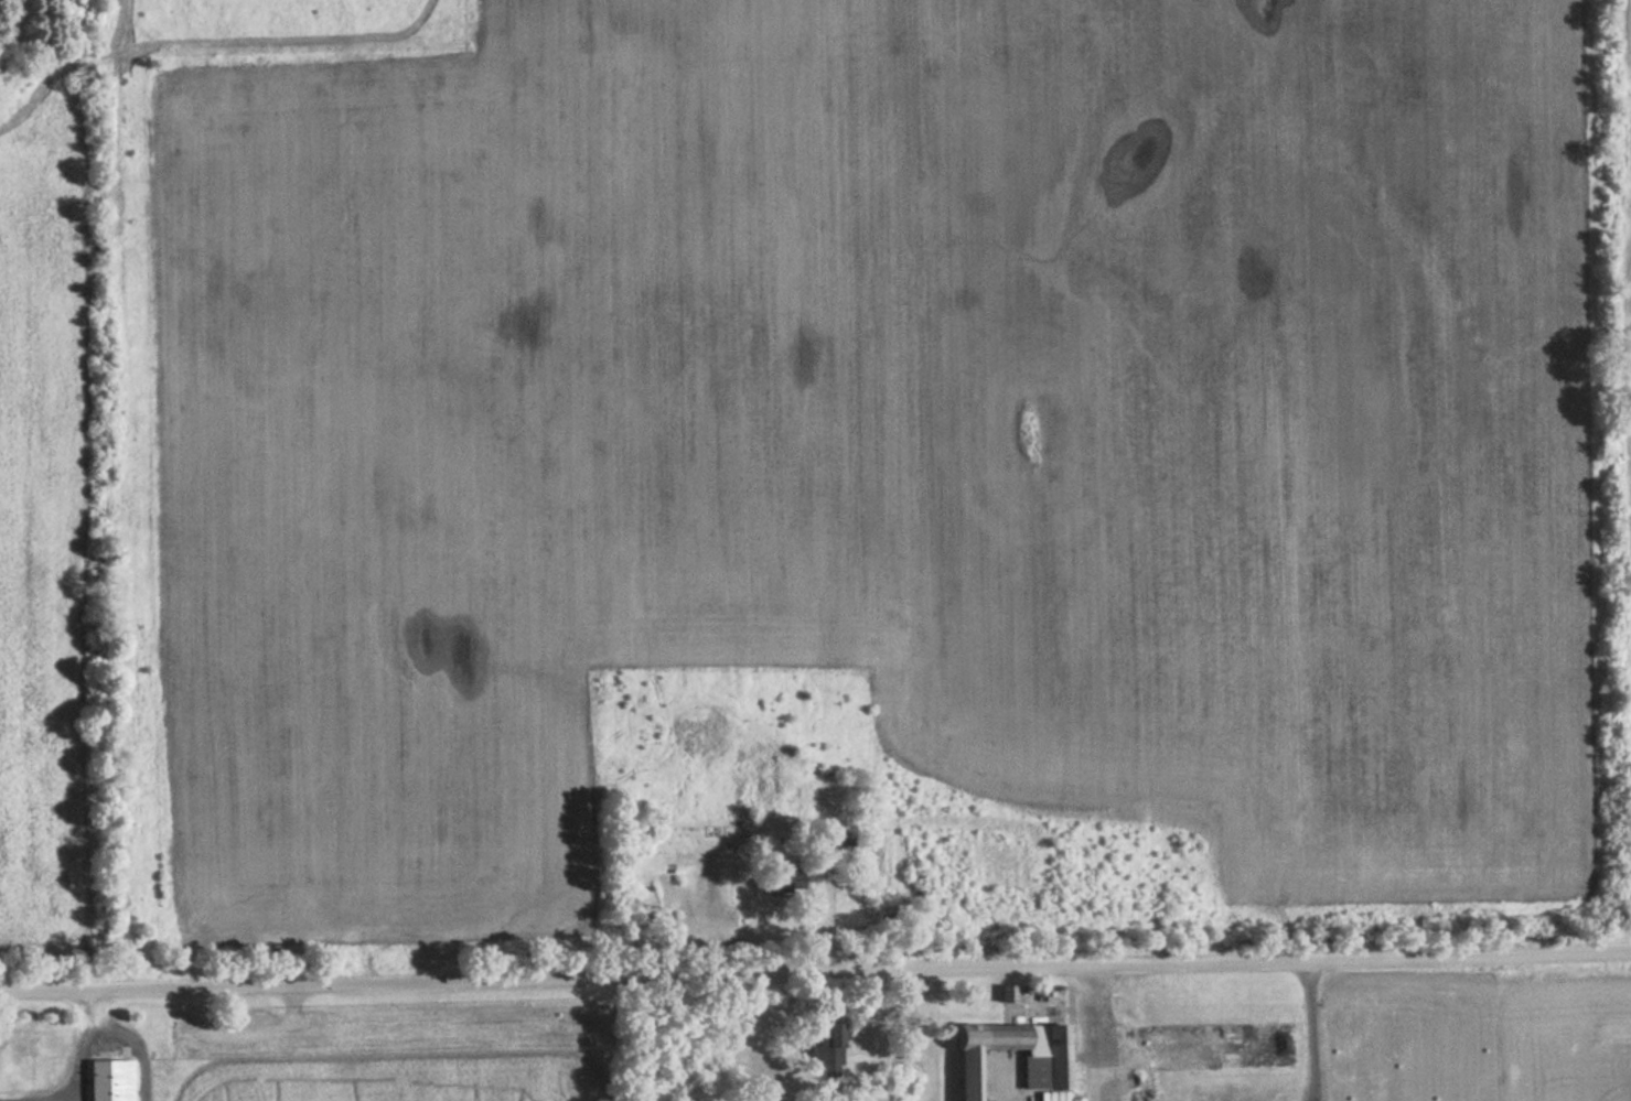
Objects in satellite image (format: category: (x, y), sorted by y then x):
building: (708, 735)
building: (841, 848)
building: (780, 879)
road: (815, 971)
road: (1316, 1029)
road: (1097, 1033)
road: (132, 1034)
building: (829, 1053)
road: (76, 1055)
building: (1044, 1068)
building: (110, 1079)

